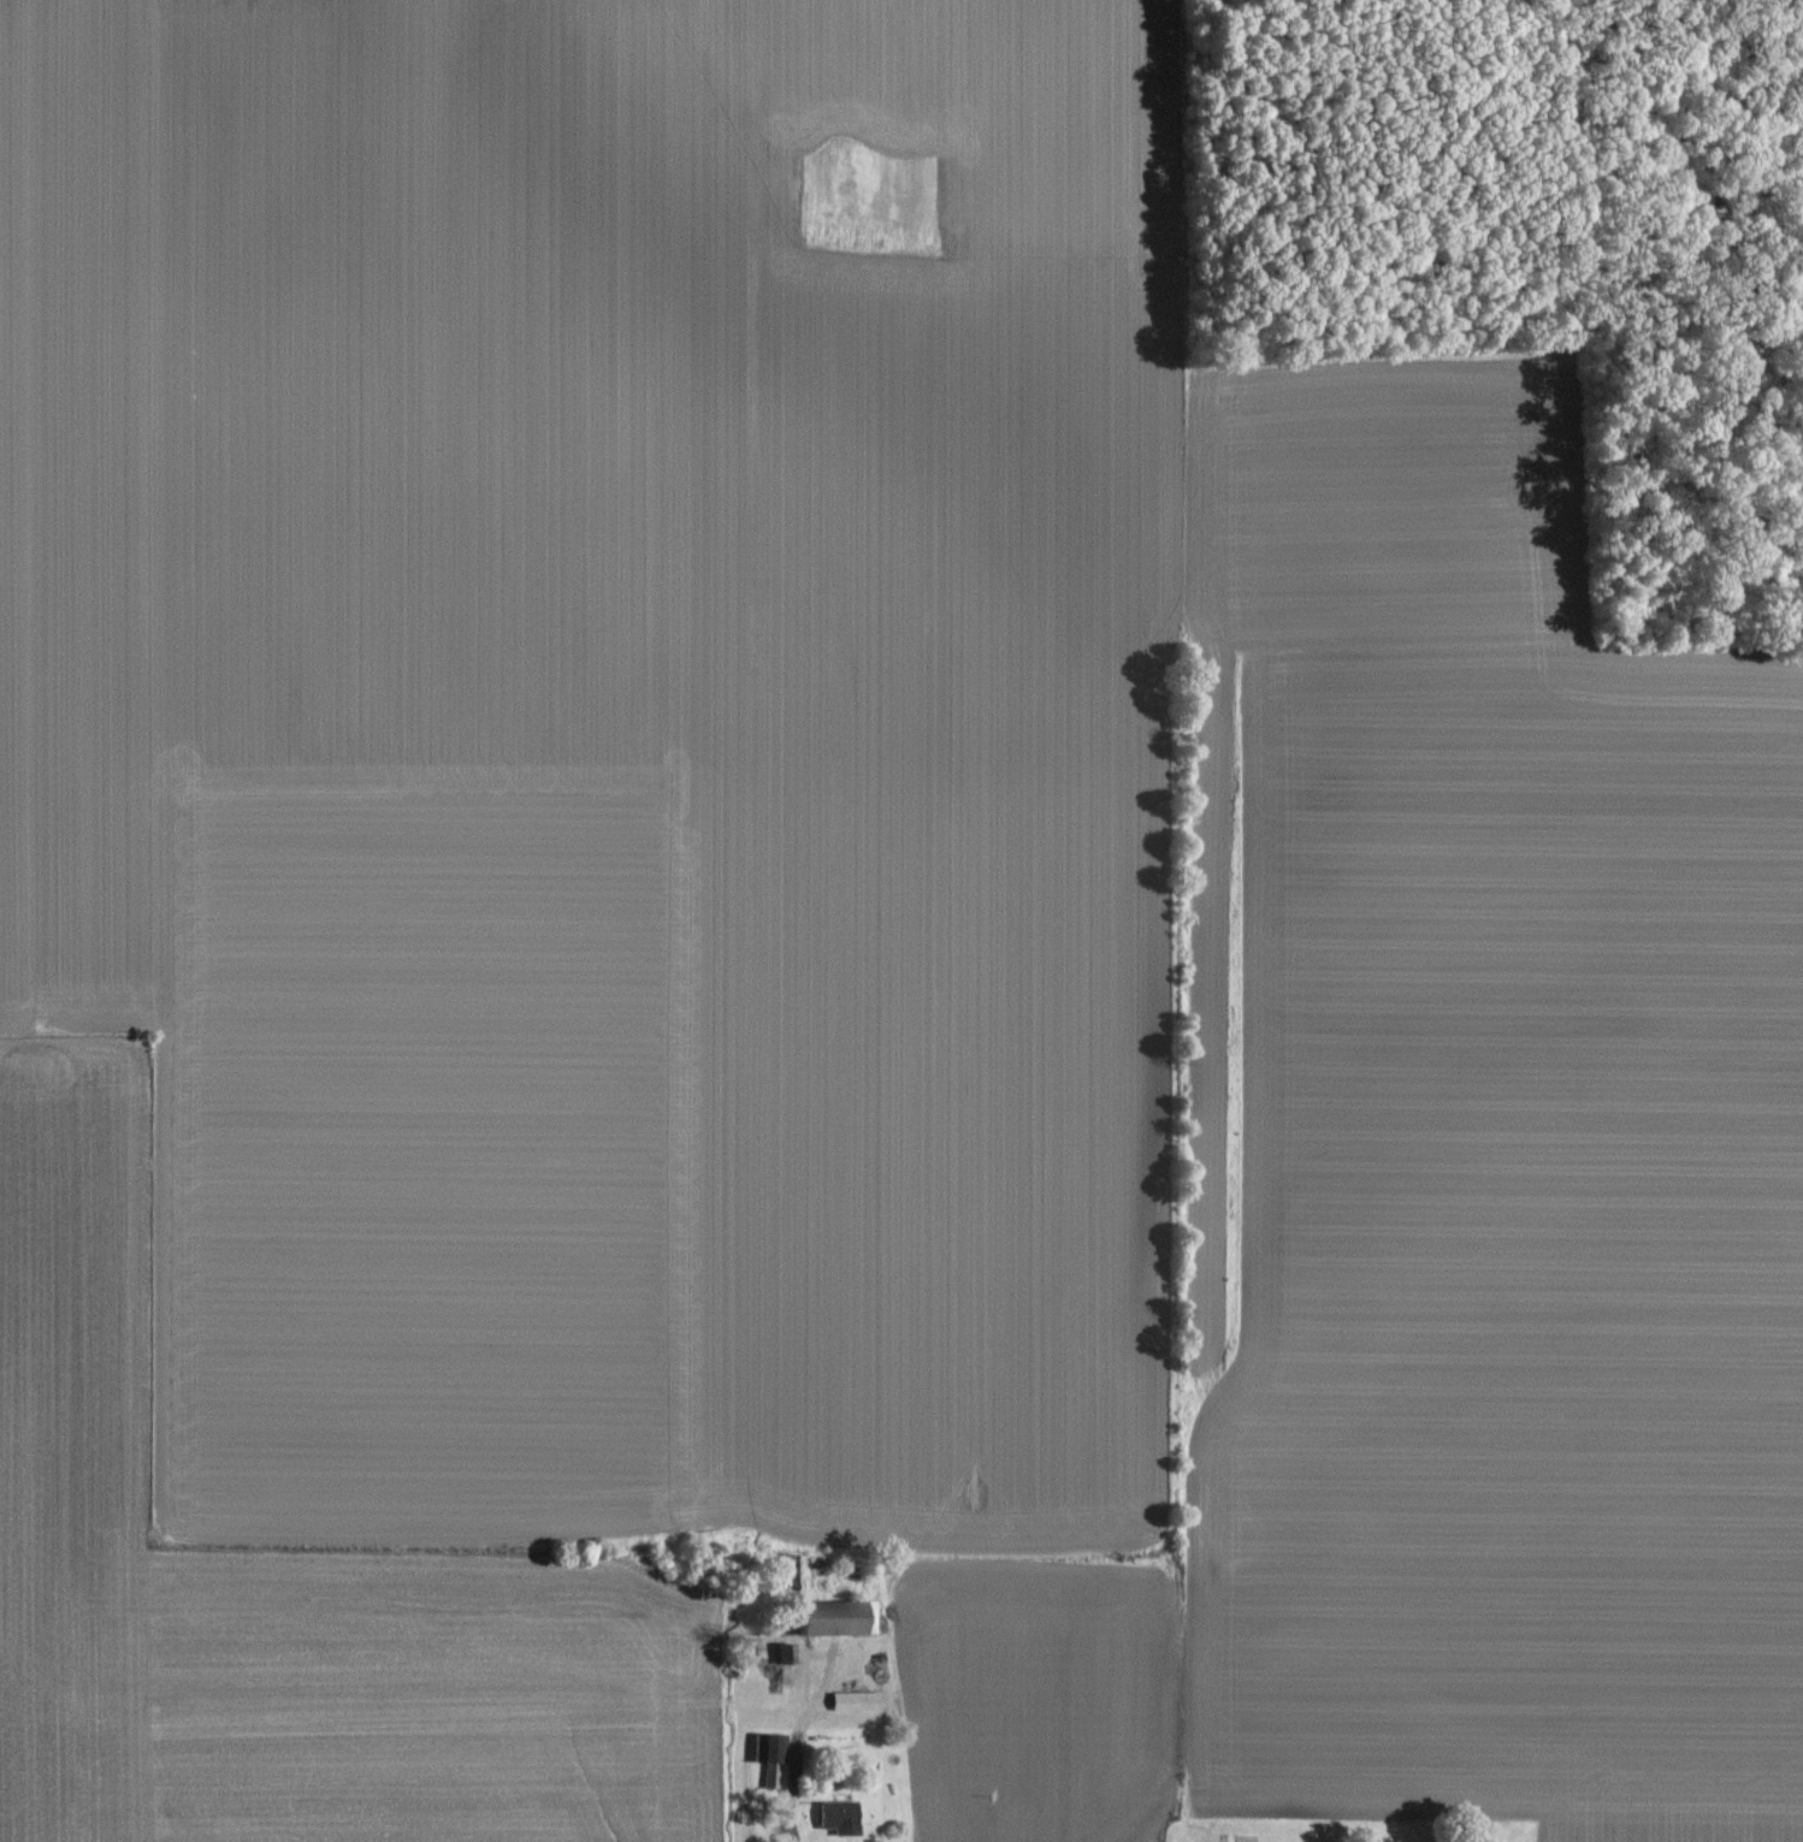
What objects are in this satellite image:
building: (828, 1619)
building: (774, 1656)
building: (850, 1704)
road: (796, 1743)
building: (763, 1751)
building: (833, 1819)

